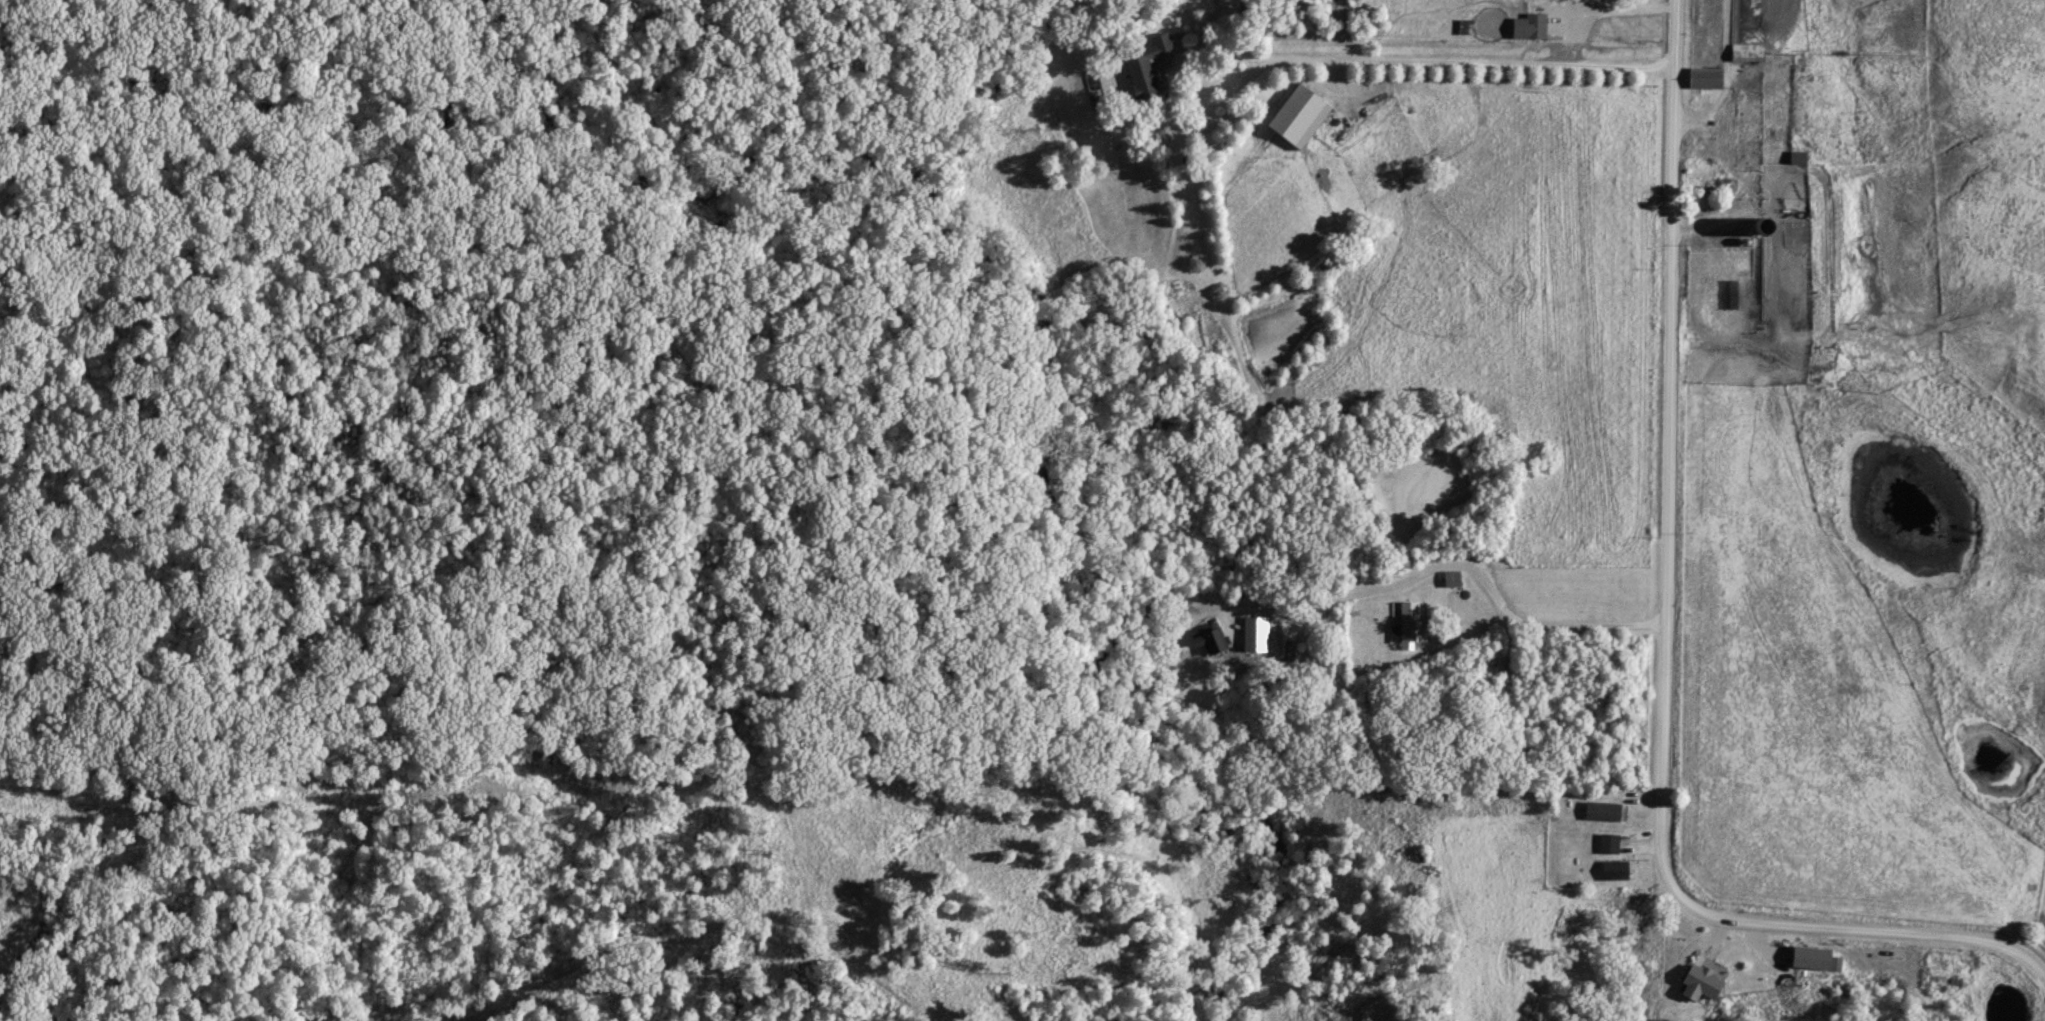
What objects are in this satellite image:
building: (1526, 25)
road: (1470, 63)
building: (1142, 64)
road: (1168, 65)
building: (1111, 73)
building: (1702, 76)
building: (1293, 115)
building: (1449, 577)
road: (1557, 624)
building: (1406, 625)
building: (1254, 632)
building: (1208, 638)
road: (1669, 642)
building: (1599, 810)
building: (1607, 842)
building: (1611, 868)
building: (1811, 957)
building: (1696, 981)

